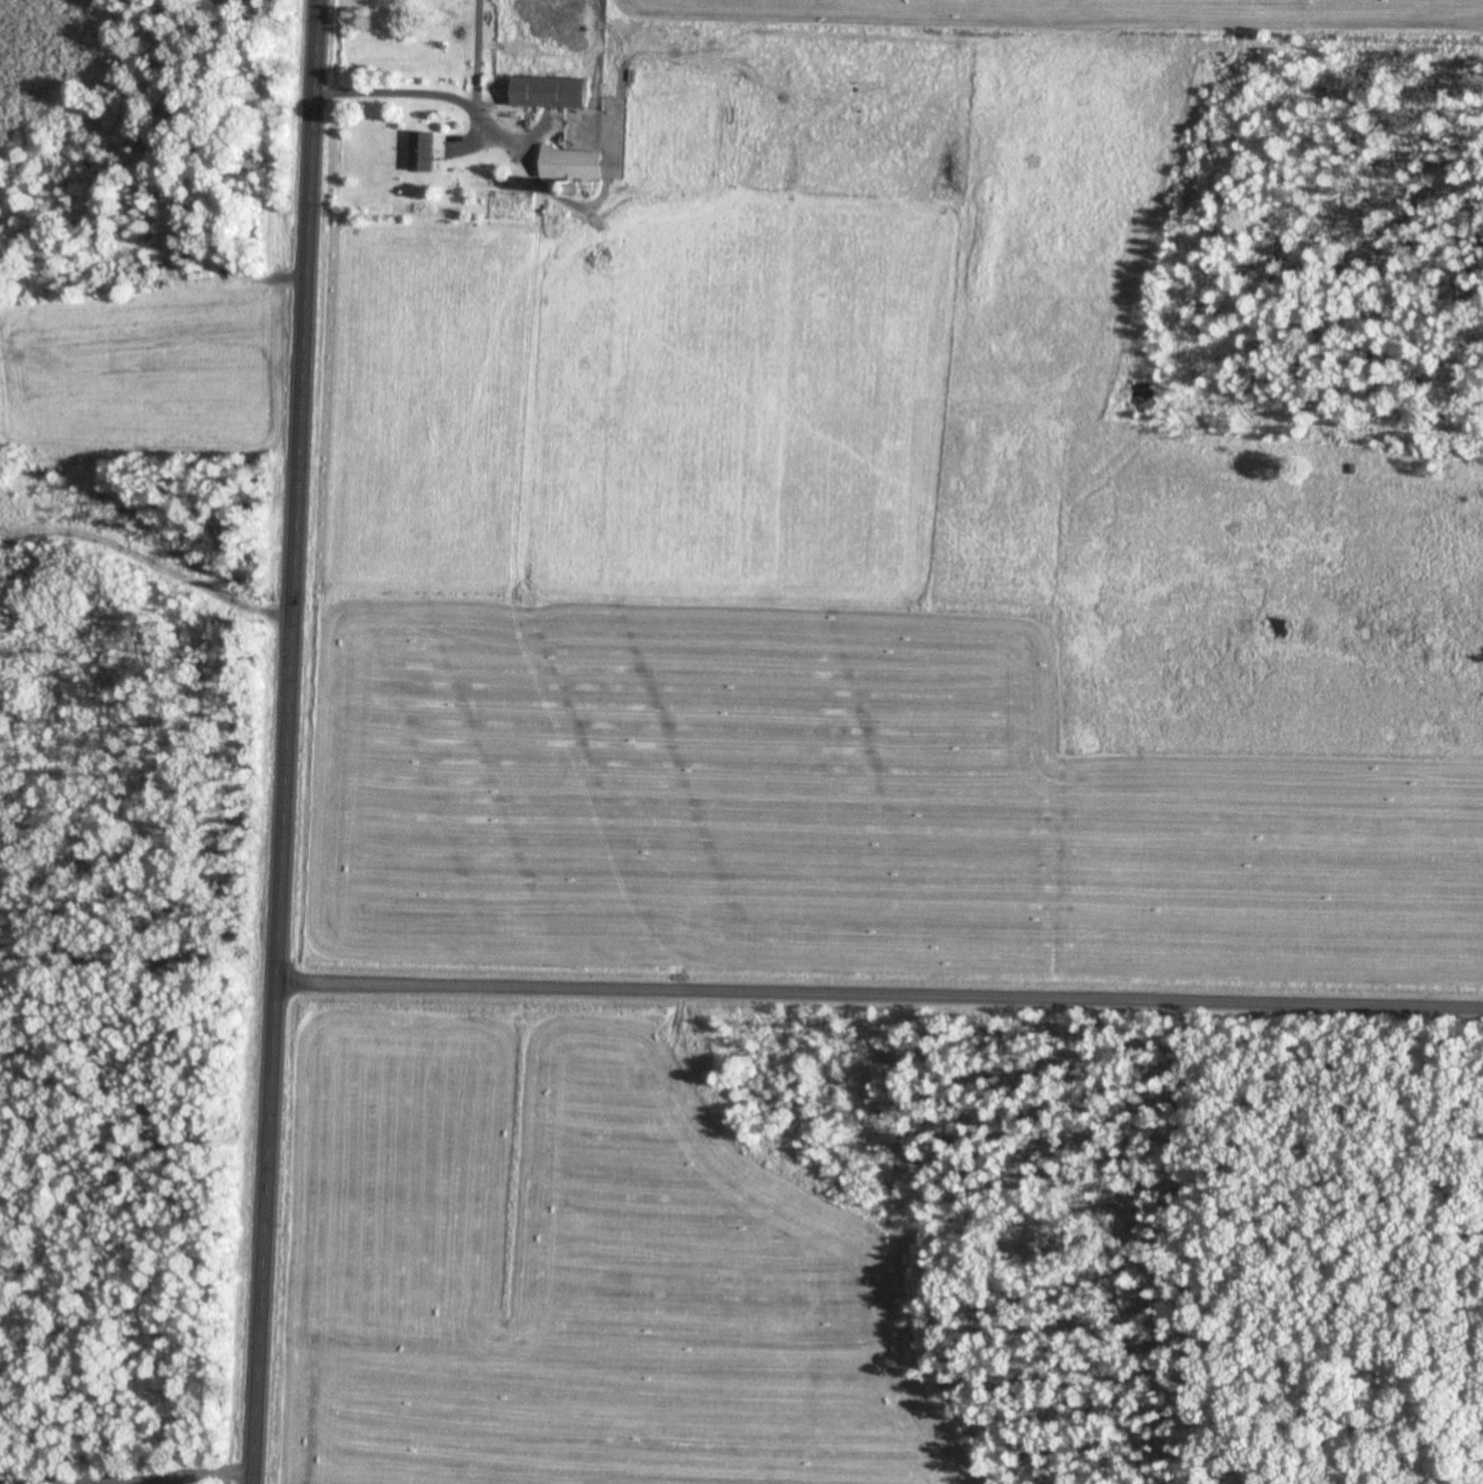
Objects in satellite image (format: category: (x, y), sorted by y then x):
road: (479, 54)
building: (554, 94)
road: (440, 95)
building: (426, 153)
building: (574, 166)
road: (290, 742)
road: (882, 994)

